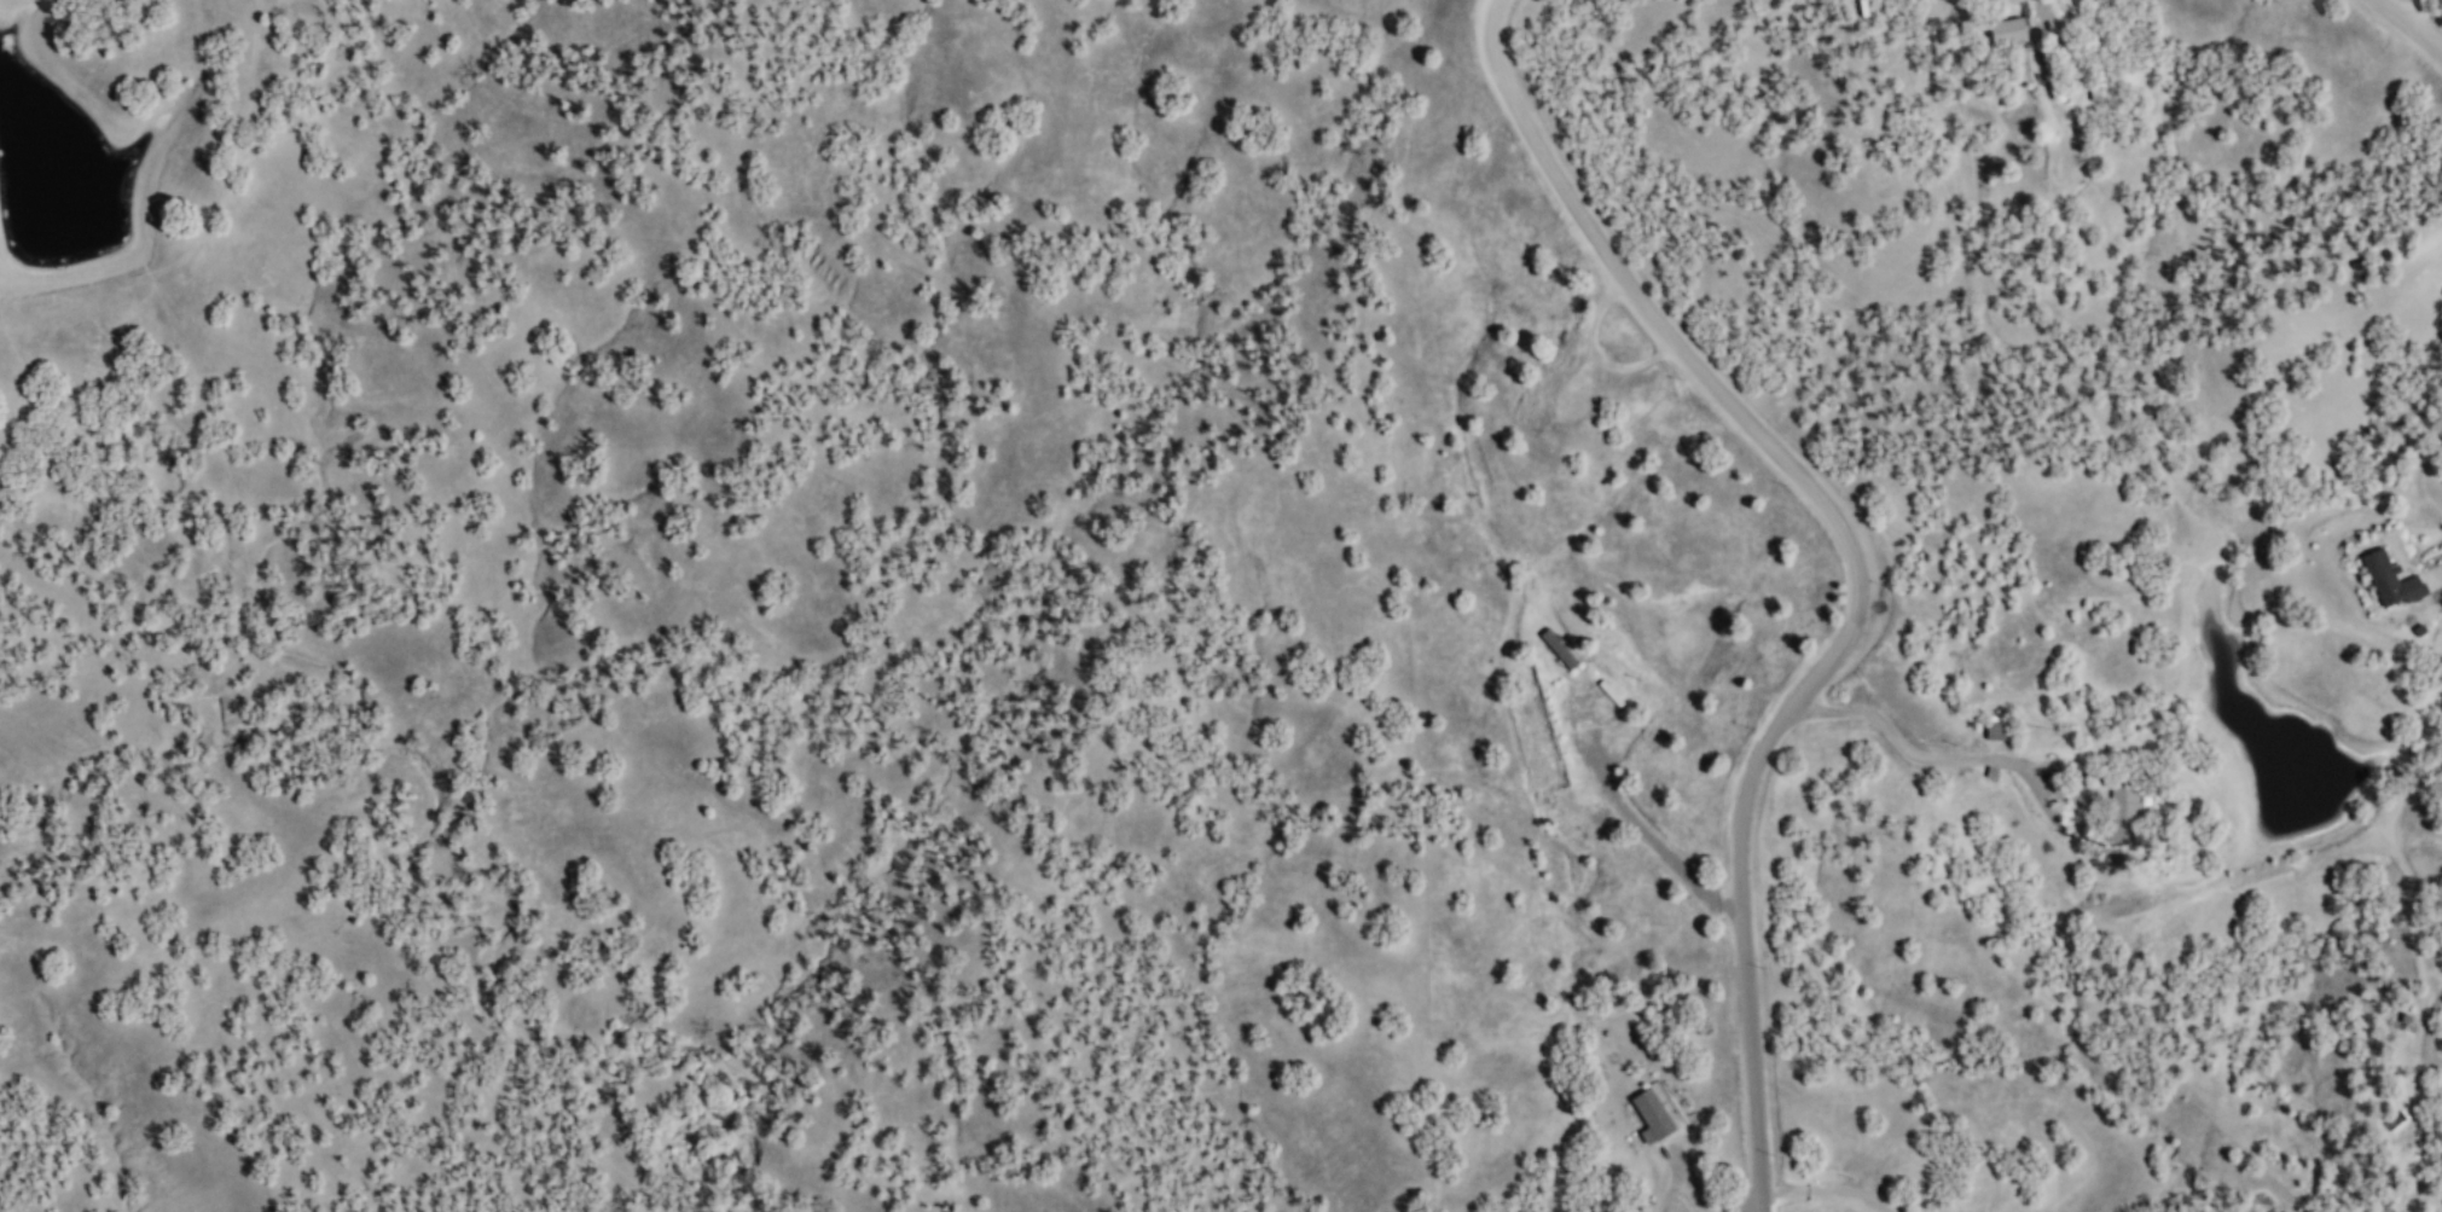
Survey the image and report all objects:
road: (2413, 23)
building: (2006, 30)
building: (2096, 92)
dam: (80, 280)
road: (1857, 563)
building: (2390, 579)
building: (1558, 648)
building: (1995, 727)
building: (2123, 814)
dam: (2296, 848)
road: (2425, 1030)
building: (1652, 1115)

